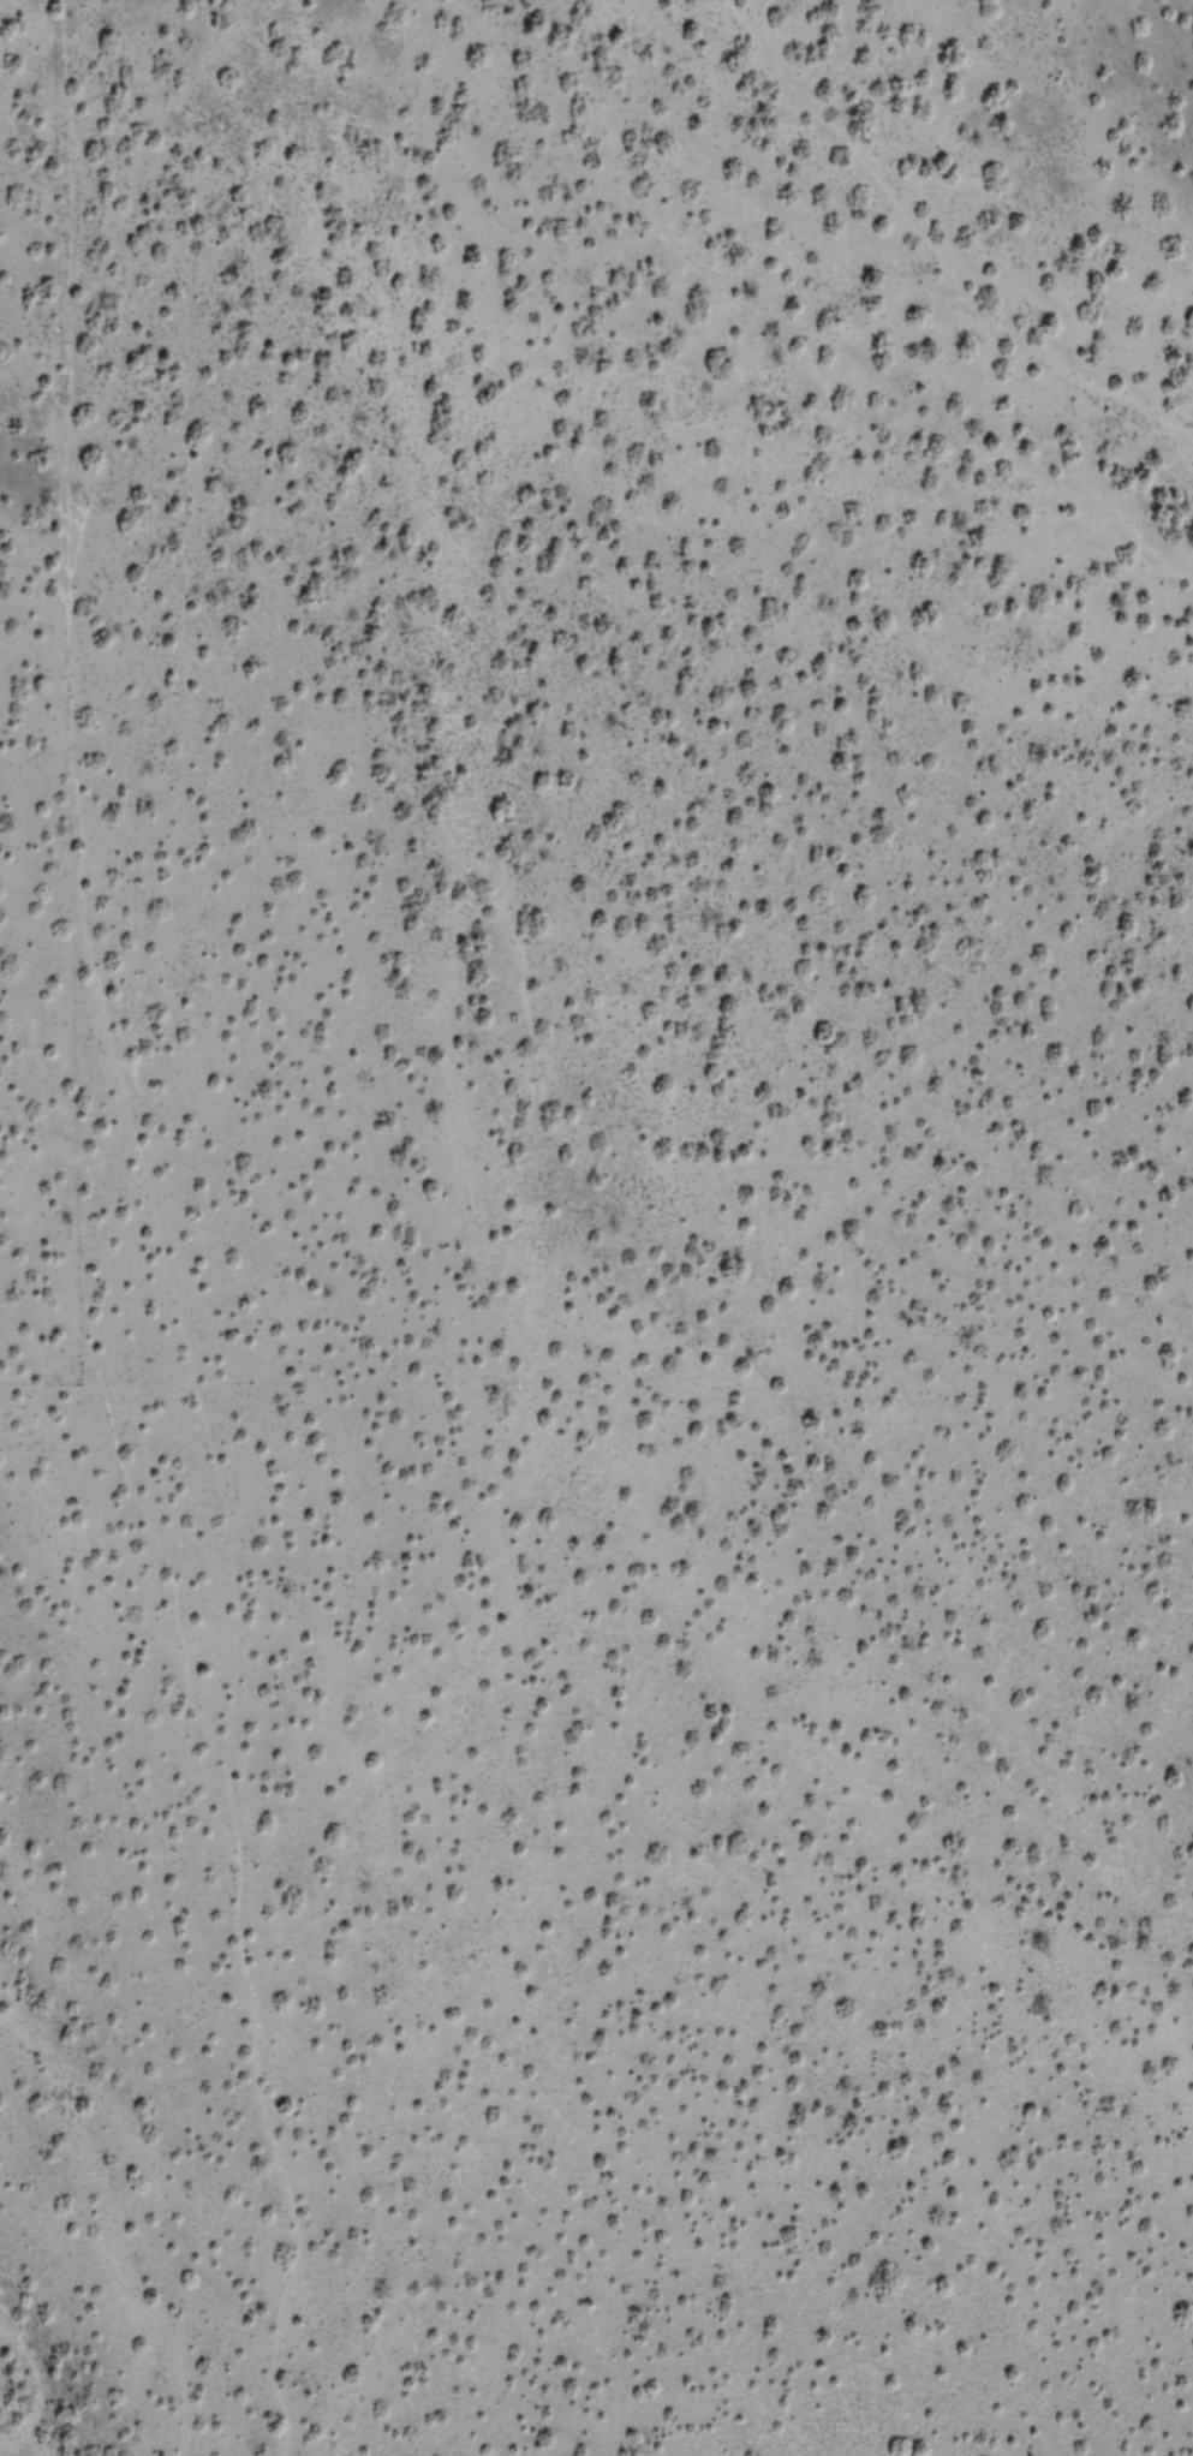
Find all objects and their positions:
road: (907, 255)

